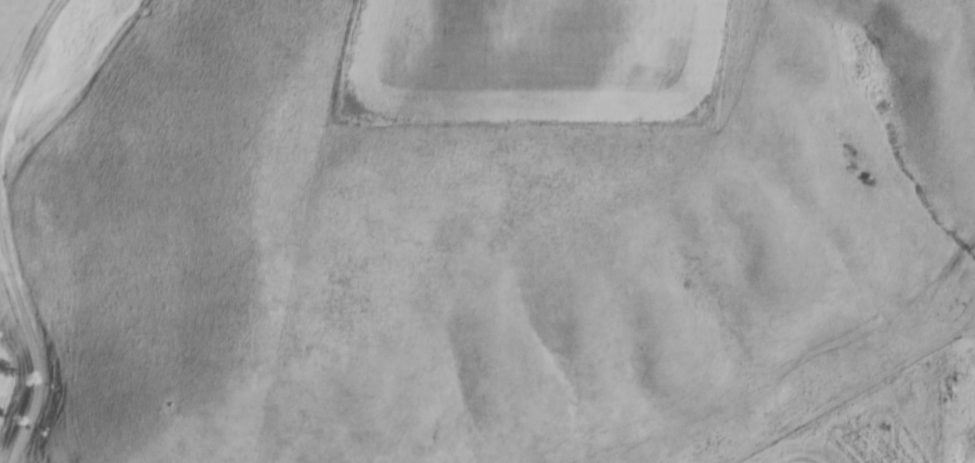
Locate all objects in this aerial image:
road: (22, 71)
road: (33, 336)

